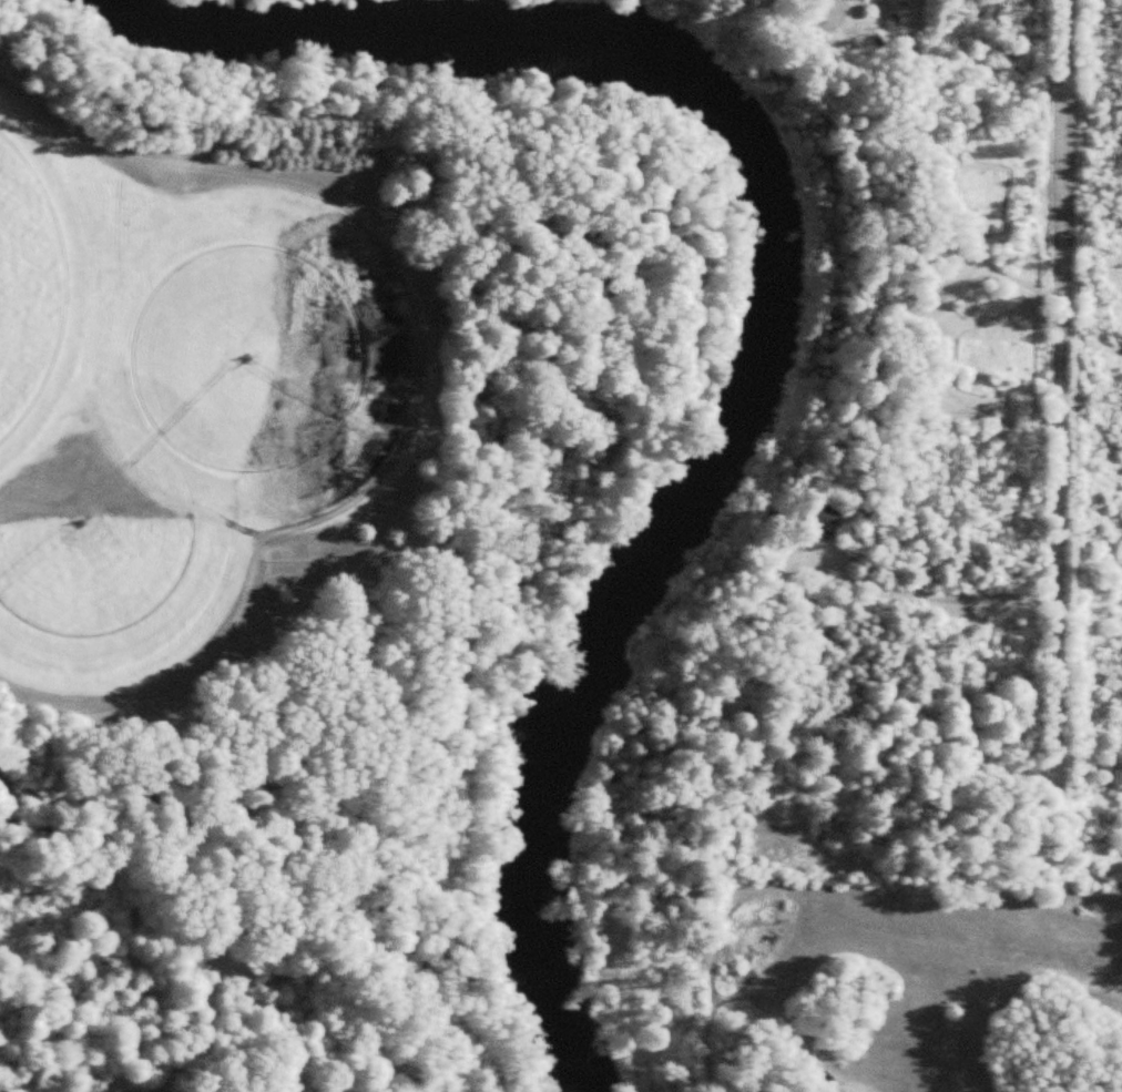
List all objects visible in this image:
river: (766, 307)
road: (1060, 386)
building: (824, 523)

